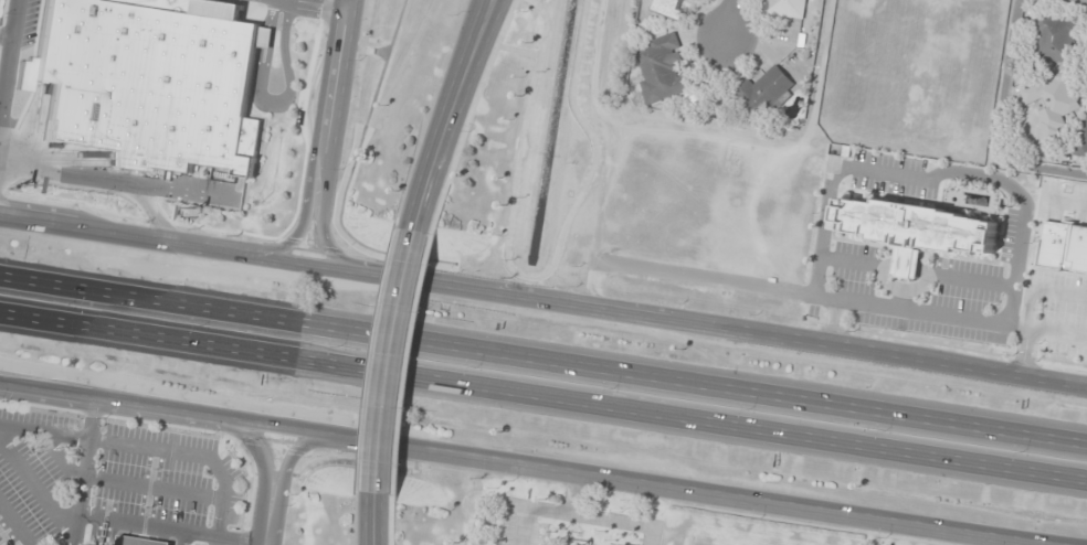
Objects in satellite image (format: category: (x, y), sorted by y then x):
road: (318, 3)
building: (785, 8)
building: (668, 9)
road: (729, 17)
building: (1056, 40)
road: (9, 58)
building: (663, 71)
building: (150, 81)
building: (764, 92)
road: (330, 99)
building: (696, 101)
road: (271, 103)
building: (1053, 103)
road: (451, 114)
road: (472, 116)
building: (1084, 135)
road: (592, 137)
road: (518, 150)
road: (602, 153)
parking lot: (891, 175)
road: (101, 181)
road: (176, 192)
building: (917, 226)
road: (295, 233)
road: (323, 236)
road: (135, 238)
road: (843, 260)
building: (906, 263)
road: (975, 282)
parking lot: (943, 292)
road: (553, 302)
road: (1007, 306)
road: (834, 321)
road: (388, 360)
road: (543, 360)
road: (410, 364)
road: (962, 364)
road: (543, 395)
road: (44, 431)
road: (392, 445)
road: (258, 458)
road: (288, 461)
building: (334, 481)
building: (115, 483)
road: (377, 517)
road: (110, 519)
road: (264, 523)
road: (907, 525)
road: (73, 530)
road: (179, 537)
road: (1026, 539)

